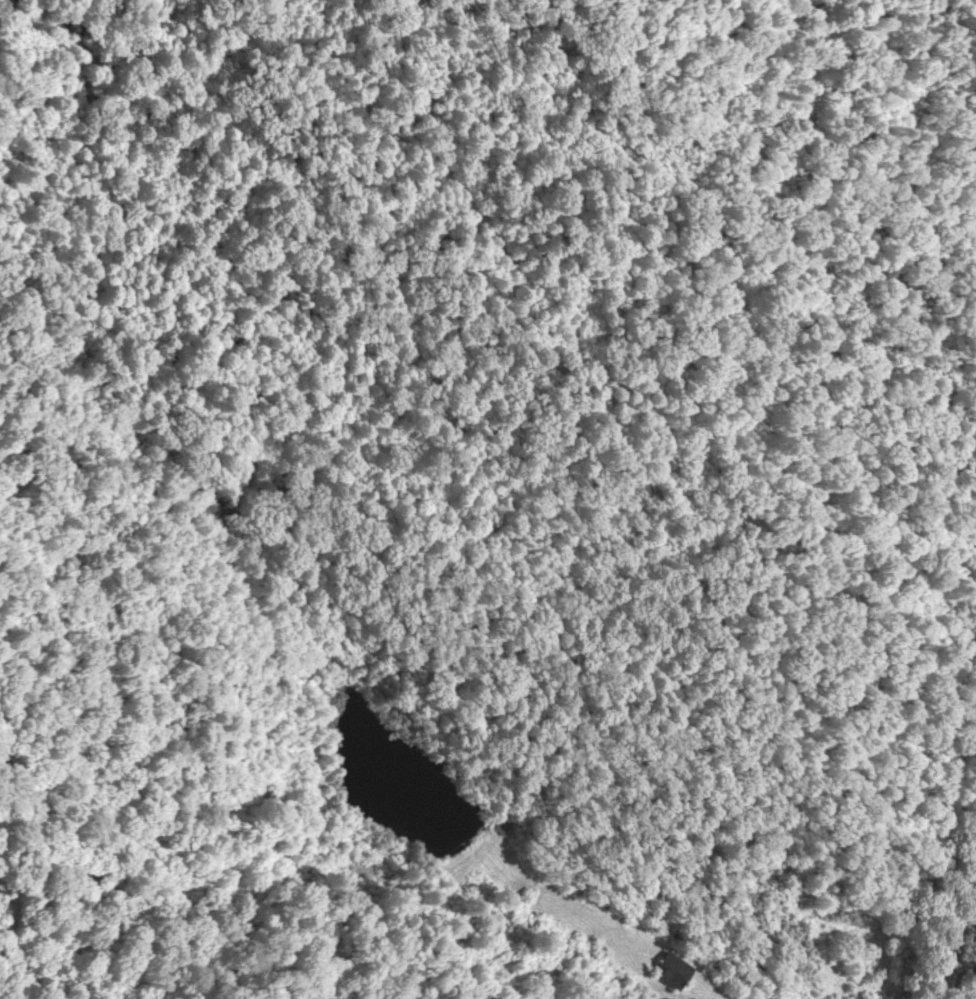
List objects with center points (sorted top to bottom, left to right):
building: (500, 824)
building: (668, 970)

